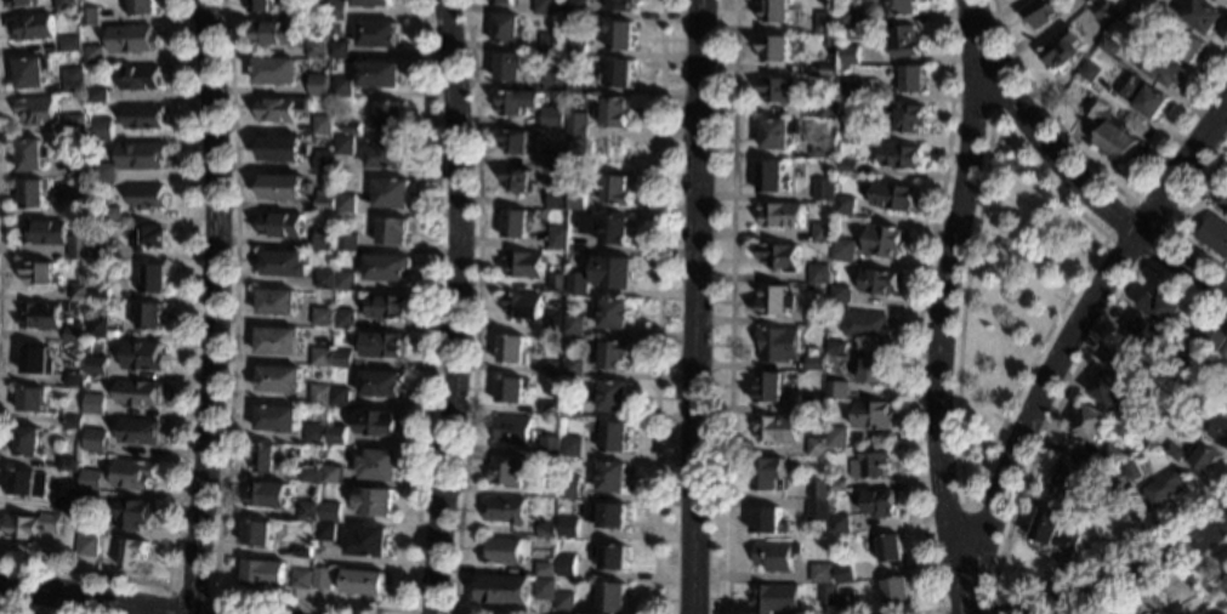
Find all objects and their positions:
building: (1148, 0)
building: (1223, 1)
building: (501, 2)
building: (19, 4)
building: (370, 4)
building: (63, 5)
building: (259, 6)
building: (620, 6)
building: (140, 7)
building: (541, 7)
building: (898, 7)
building: (576, 8)
building: (334, 10)
building: (1101, 10)
building: (1041, 11)
building: (778, 12)
building: (308, 13)
building: (1129, 13)
building: (1203, 16)
building: (89, 17)
building: (847, 19)
building: (825, 23)
building: (32, 28)
building: (506, 29)
building: (271, 33)
building: (376, 34)
building: (620, 35)
building: (131, 40)
building: (903, 42)
building: (549, 44)
building: (69, 45)
building: (1107, 46)
building: (1191, 47)
building: (314, 49)
building: (578, 49)
building: (1061, 49)
building: (337, 50)
building: (776, 50)
building: (848, 55)
building: (92, 56)
building: (1158, 66)
building: (510, 67)
building: (829, 69)
building: (274, 72)
building: (1087, 72)
building: (30, 73)
building: (379, 74)
building: (618, 74)
building: (140, 78)
building: (910, 79)
building: (73, 80)
building: (553, 81)
building: (576, 83)
building: (317, 85)
building: (341, 87)
building: (851, 89)
building: (778, 91)
building: (97, 96)
building: (1143, 97)
building: (517, 103)
building: (280, 108)
building: (828, 108)
building: (38, 112)
road: (993, 112)
building: (615, 113)
building: (388, 114)
building: (142, 116)
building: (551, 118)
building: (908, 119)
building: (75, 124)
building: (576, 125)
building: (848, 125)
building: (320, 126)
building: (350, 127)
building: (1107, 131)
building: (778, 133)
building: (100, 136)
building: (516, 142)
building: (343, 146)
building: (822, 148)
building: (282, 149)
building: (386, 153)
building: (32, 155)
building: (141, 155)
building: (899, 157)
building: (556, 159)
building: (323, 161)
building: (80, 166)
building: (846, 166)
building: (103, 174)
road: (1100, 175)
building: (772, 178)
building: (516, 180)
building: (283, 187)
building: (614, 189)
building: (822, 189)
road: (1086, 189)
building: (33, 193)
building: (391, 194)
building: (146, 197)
building: (890, 197)
building: (556, 199)
building: (324, 200)
building: (80, 203)
building: (345, 203)
building: (576, 203)
building: (1222, 204)
building: (843, 205)
building: (780, 216)
road: (1176, 216)
building: (108, 218)
building: (515, 224)
building: (280, 226)
road: (1164, 227)
building: (608, 229)
building: (392, 232)
building: (44, 233)
building: (822, 233)
building: (1214, 235)
building: (149, 238)
building: (556, 238)
building: (323, 239)
building: (346, 243)
building: (882, 243)
building: (79, 248)
building: (103, 250)
building: (842, 250)
building: (779, 257)
building: (284, 265)
building: (524, 265)
building: (387, 268)
building: (613, 272)
building: (818, 272)
building: (40, 274)
building: (153, 280)
building: (324, 280)
building: (345, 282)
building: (555, 283)
building: (578, 283)
building: (876, 283)
building: (79, 292)
building: (100, 292)
park: (1010, 294)
building: (839, 295)
building: (776, 301)
building: (277, 302)
building: (387, 306)
building: (521, 306)
road: (216, 307)
road: (456, 307)
road: (477, 307)
road: (658, 307)
road: (699, 307)
road: (731, 307)
road: (942, 307)
building: (1160, 308)
building: (613, 314)
building: (149, 315)
building: (816, 315)
building: (41, 317)
building: (322, 317)
building: (343, 319)
road: (918, 319)
building: (553, 324)
building: (574, 325)
building: (867, 326)
building: (97, 328)
road: (1073, 331)
building: (1144, 331)
building: (75, 336)
building: (1216, 340)
building: (277, 341)
building: (382, 345)
building: (778, 346)
building: (836, 348)
building: (511, 349)
building: (1223, 352)
building: (610, 354)
building: (143, 356)
building: (322, 357)
building: (342, 359)
building: (36, 360)
building: (1129, 362)
building: (813, 363)
building: (97, 365)
building: (574, 368)
building: (552, 369)
building: (1185, 370)
building: (875, 371)
building: (73, 379)
building: (279, 379)
road: (189, 381)
building: (382, 385)
building: (1206, 387)
building: (771, 388)
building: (1108, 388)
building: (511, 390)
building: (836, 391)
building: (140, 393)
building: (320, 396)
building: (340, 397)
building: (610, 397)
building: (1165, 397)
building: (32, 400)
building: (95, 404)
building: (814, 404)
building: (572, 408)
building: (550, 409)
building: (1181, 411)
building: (873, 415)
building: (277, 419)
building: (72, 422)
building: (379, 423)
building: (1090, 423)
building: (1142, 426)
building: (778, 430)
building: (513, 431)
building: (1220, 431)
building: (141, 432)
building: (316, 434)
building: (336, 436)
building: (614, 437)
building: (837, 438)
building: (96, 440)
building: (28, 442)
building: (550, 447)
building: (570, 447)
building: (817, 447)
building: (1174, 453)
building: (1113, 455)
building: (266, 457)
building: (1204, 457)
building: (869, 462)
building: (69, 465)
building: (380, 465)
building: (505, 471)
building: (1132, 471)
road: (981, 472)
building: (135, 474)
building: (312, 474)
building: (331, 474)
building: (769, 474)
building: (1069, 476)
building: (610, 477)
building: (92, 481)
building: (27, 483)
building: (837, 485)
building: (547, 488)
building: (1165, 488)
building: (818, 489)
building: (568, 491)
building: (269, 495)
road: (1018, 495)
building: (375, 502)
building: (66, 505)
building: (881, 505)
road: (965, 507)
building: (506, 510)
building: (330, 511)
building: (818, 511)
building: (309, 512)
building: (135, 513)
building: (607, 514)
building: (768, 522)
building: (86, 523)
building: (840, 524)
building: (32, 525)
building: (568, 527)
building: (546, 530)
building: (1053, 530)
building: (326, 533)
building: (260, 534)
building: (369, 542)
building: (86, 544)
building: (890, 550)
building: (302, 551)
building: (504, 551)
building: (135, 553)
building: (773, 556)
building: (609, 557)
building: (567, 565)
building: (545, 570)
building: (843, 573)
building: (265, 574)
building: (822, 574)
building: (302, 578)
road: (1129, 578)
building: (323, 579)
building: (364, 582)
road: (1154, 582)
road: (189, 589)
building: (544, 589)
building: (501, 590)
building: (896, 590)
building: (825, 595)
road: (80, 598)
building: (613, 598)
building: (777, 599)
building: (563, 601)
building: (845, 601)
road: (968, 601)
road: (322, 602)
road: (1108, 602)
road: (17, 609)
building: (1177, 610)
road: (421, 612)
building: (1164, 613)

